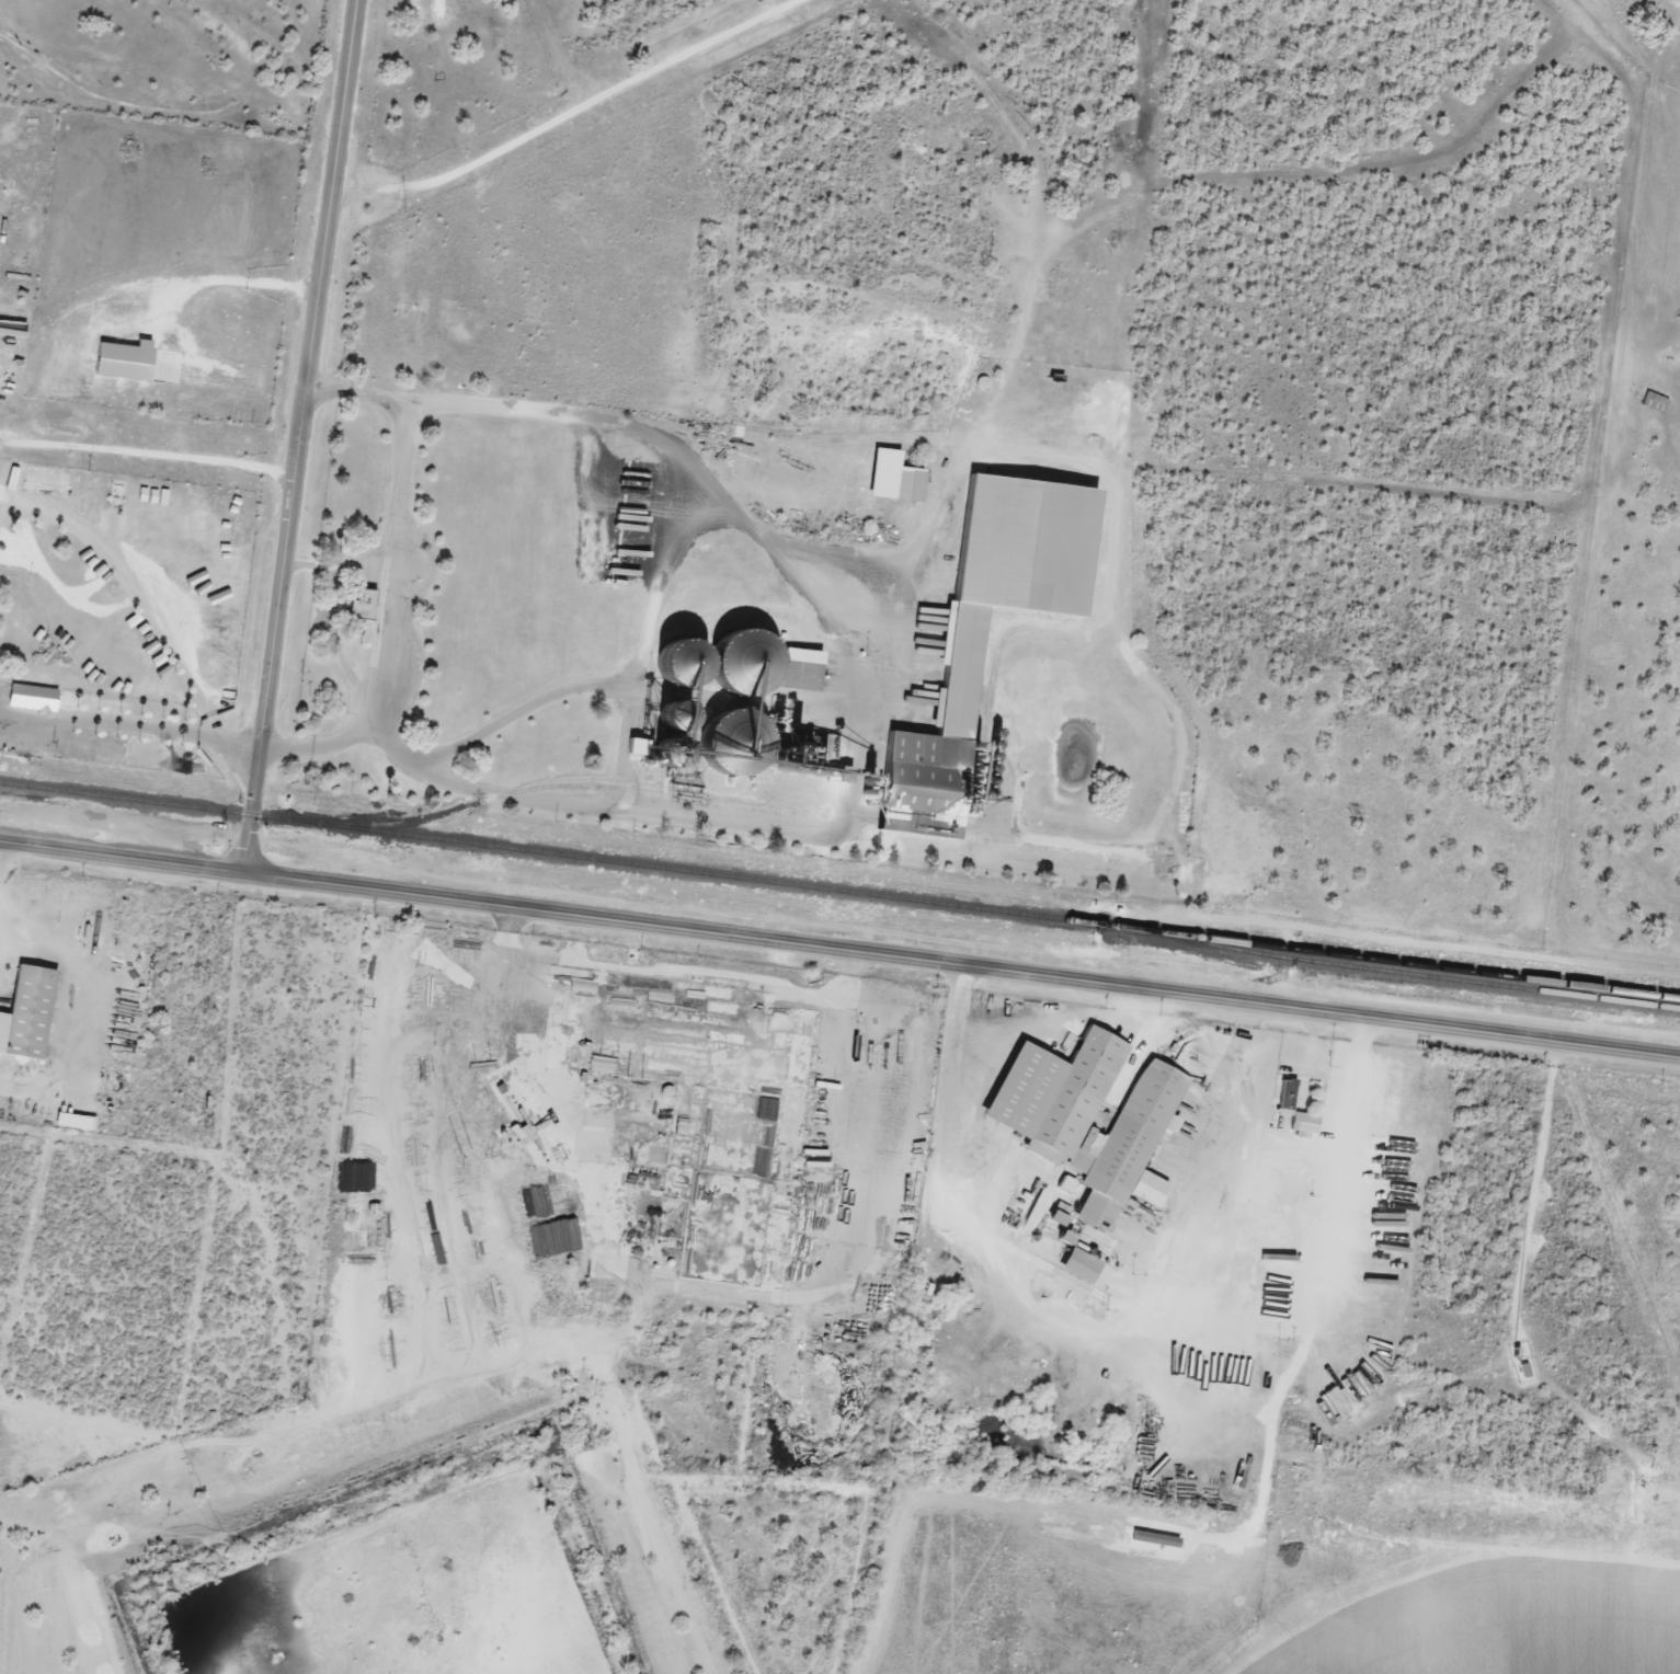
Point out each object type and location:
road: (573, 116)
building: (127, 360)
building: (1650, 403)
road: (297, 436)
building: (45, 482)
building: (911, 485)
road: (3, 515)
road: (144, 615)
building: (769, 660)
silo: (769, 660)
building: (710, 661)
silo: (710, 661)
building: (975, 681)
building: (705, 713)
silo: (705, 713)
building: (681, 718)
road: (112, 723)
building: (759, 739)
silo: (759, 739)
building: (664, 752)
railway: (839, 890)
road: (839, 947)
railway: (1392, 971)
building: (32, 1011)
building: (1289, 1096)
building: (1087, 1115)
building: (1084, 1266)

